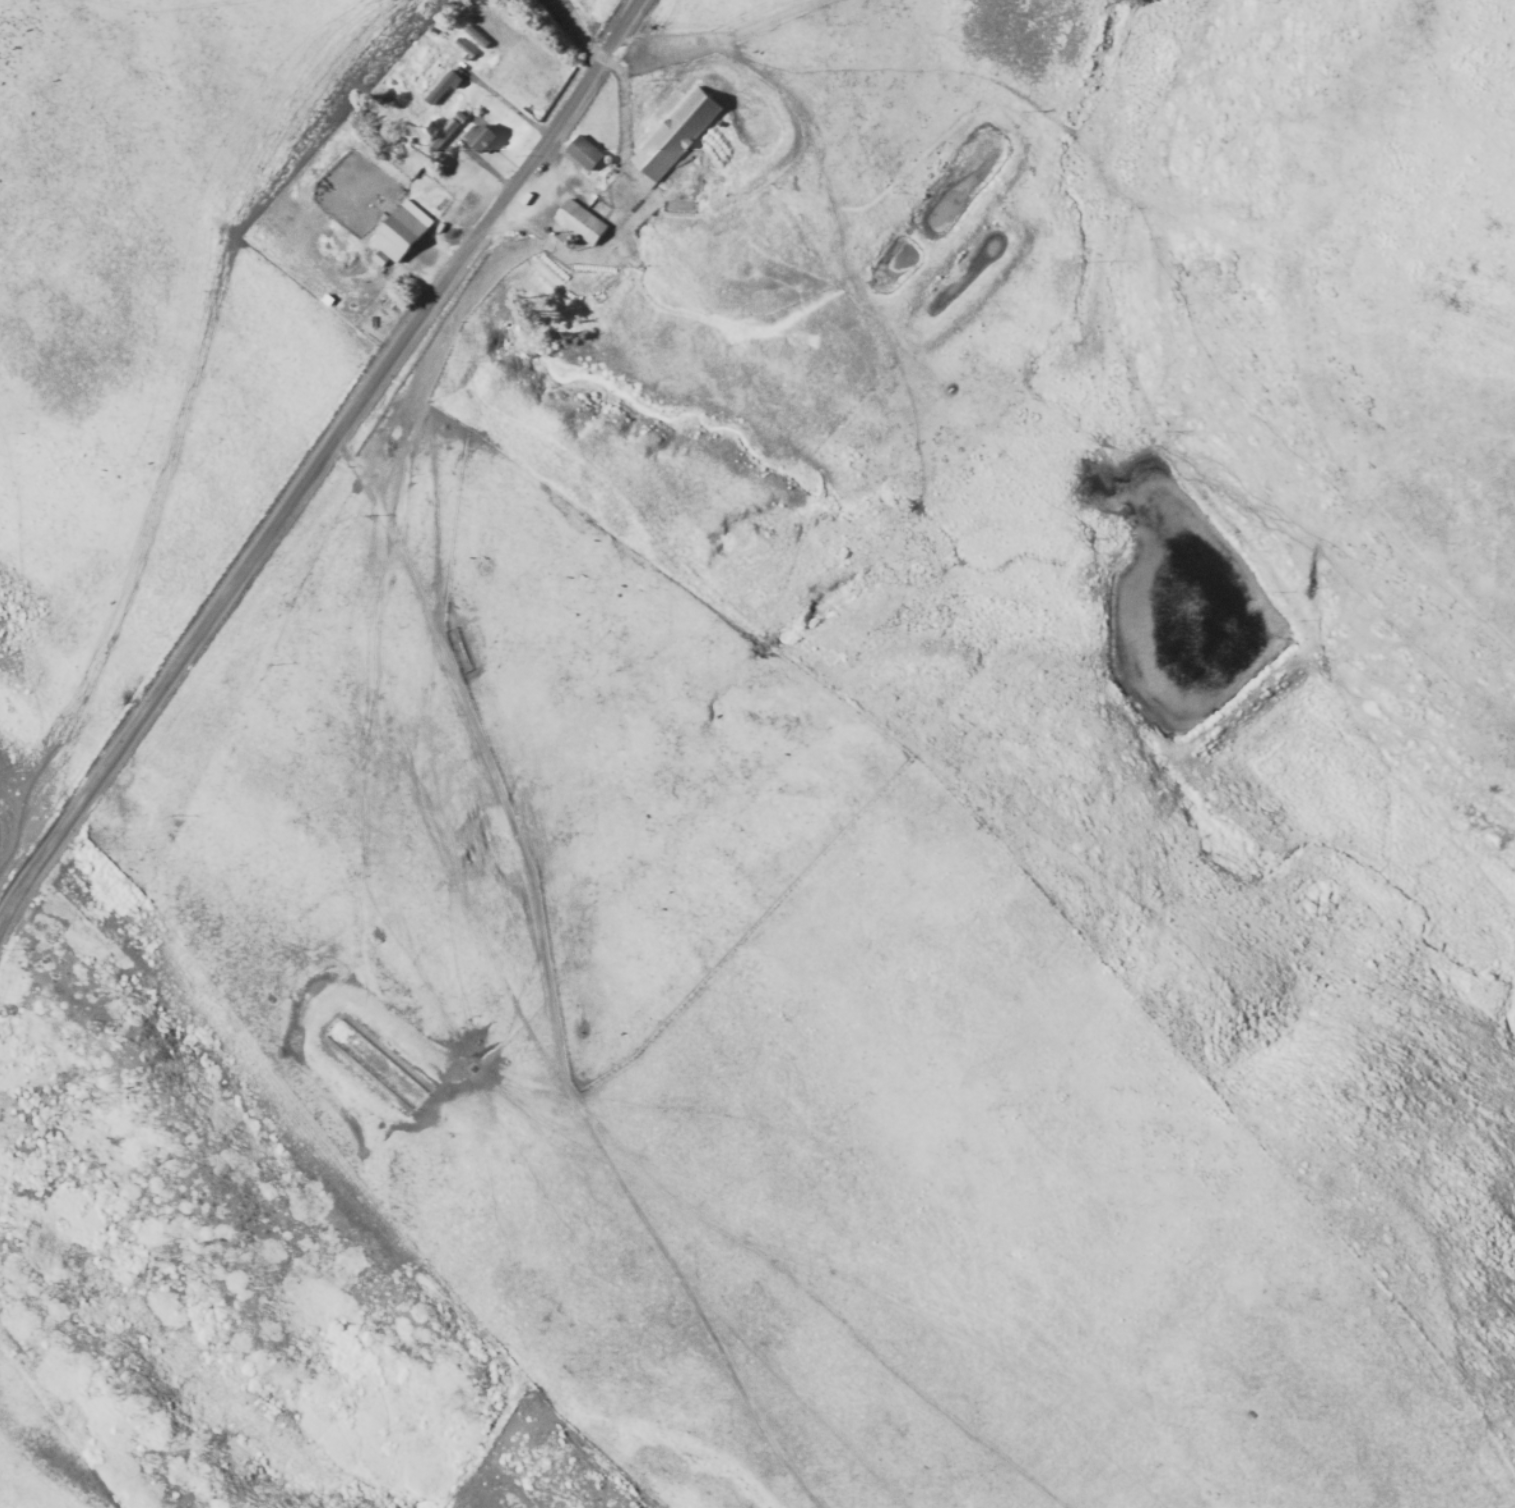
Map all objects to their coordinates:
road: (719, 39)
building: (442, 133)
building: (480, 136)
building: (580, 221)
building: (401, 230)
road: (319, 461)
road: (551, 987)

